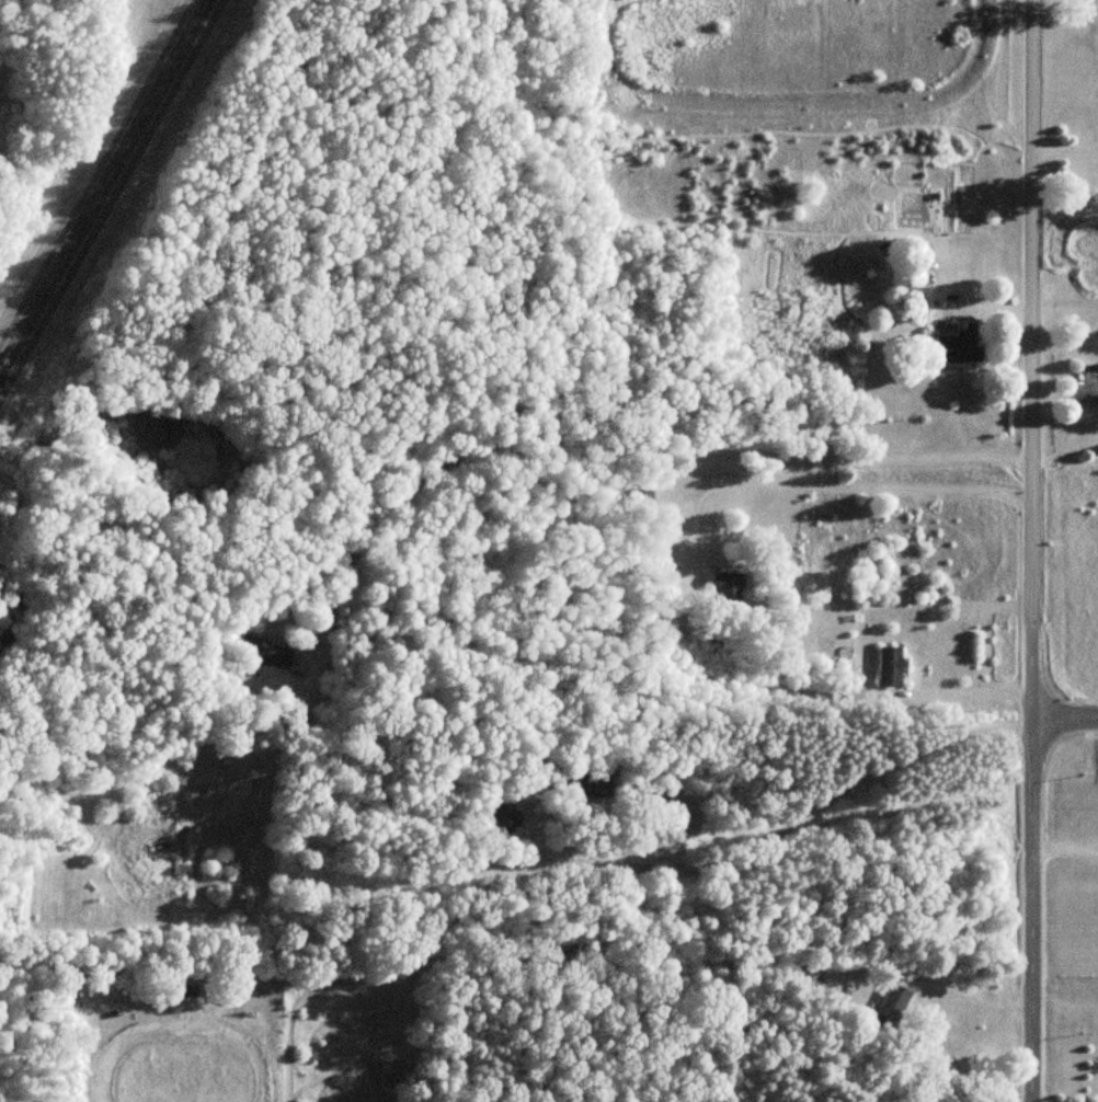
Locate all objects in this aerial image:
road: (1064, 156)
road: (96, 164)
road: (1029, 309)
road: (794, 338)
building: (958, 346)
road: (835, 484)
building: (637, 501)
building: (724, 586)
building: (270, 663)
building: (888, 666)
road: (1064, 721)
building: (588, 789)
building: (491, 817)
road: (1055, 853)
road: (1013, 859)
road: (516, 874)
building: (252, 883)
building: (183, 991)
building: (899, 998)
building: (394, 1071)

